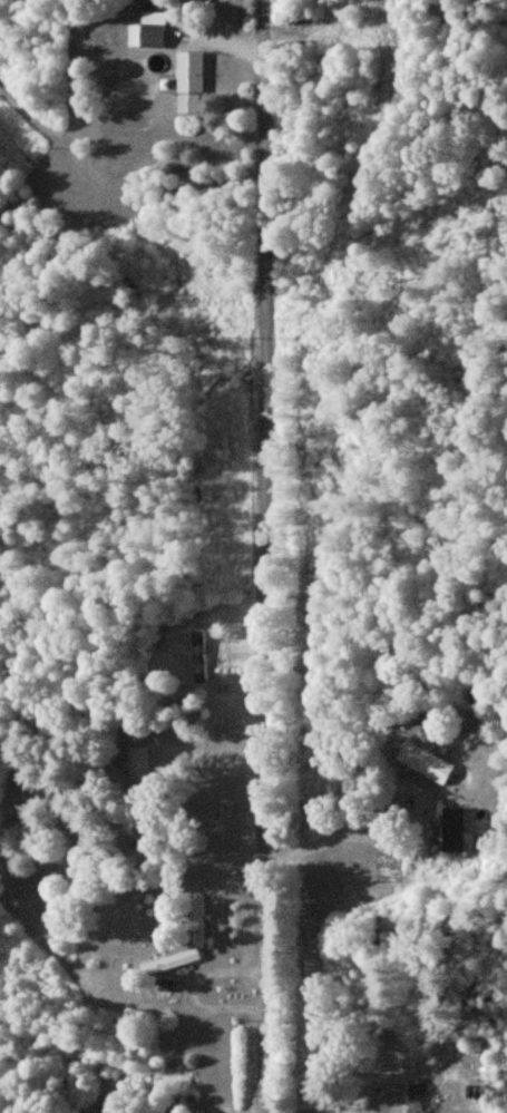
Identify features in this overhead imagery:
building: (152, 31)
building: (191, 82)
road: (261, 556)
building: (199, 655)
building: (425, 761)
building: (139, 762)
building: (452, 828)
building: (170, 960)

